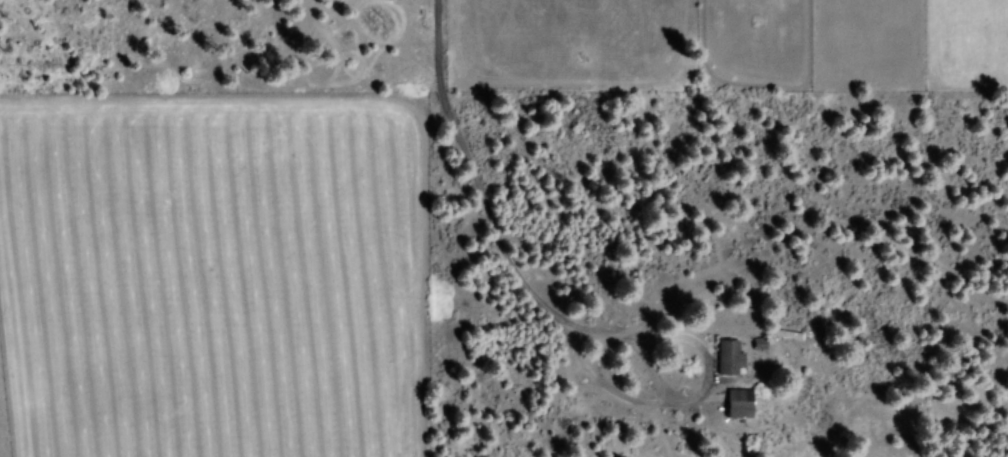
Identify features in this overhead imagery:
road: (312, 71)
building: (732, 360)
building: (742, 406)

